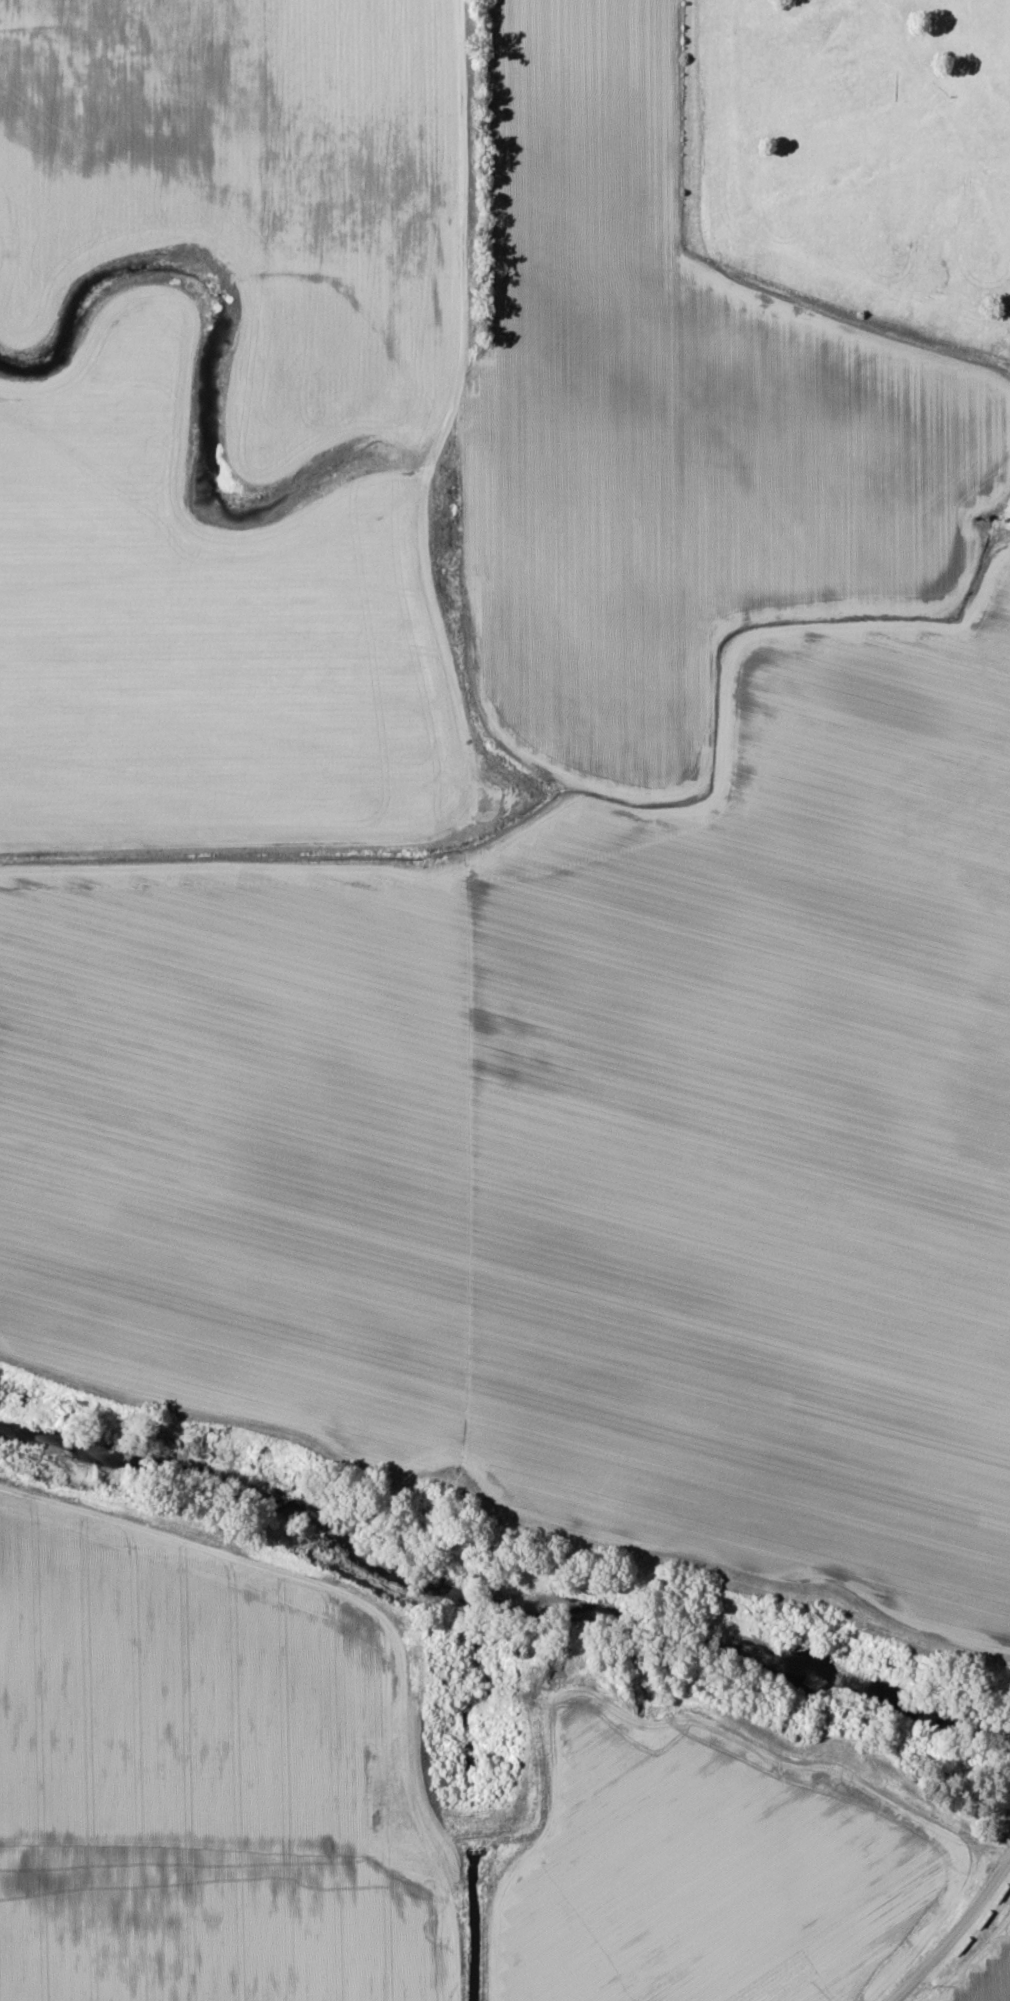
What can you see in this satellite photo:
road: (936, 1938)
road: (7, 1988)

